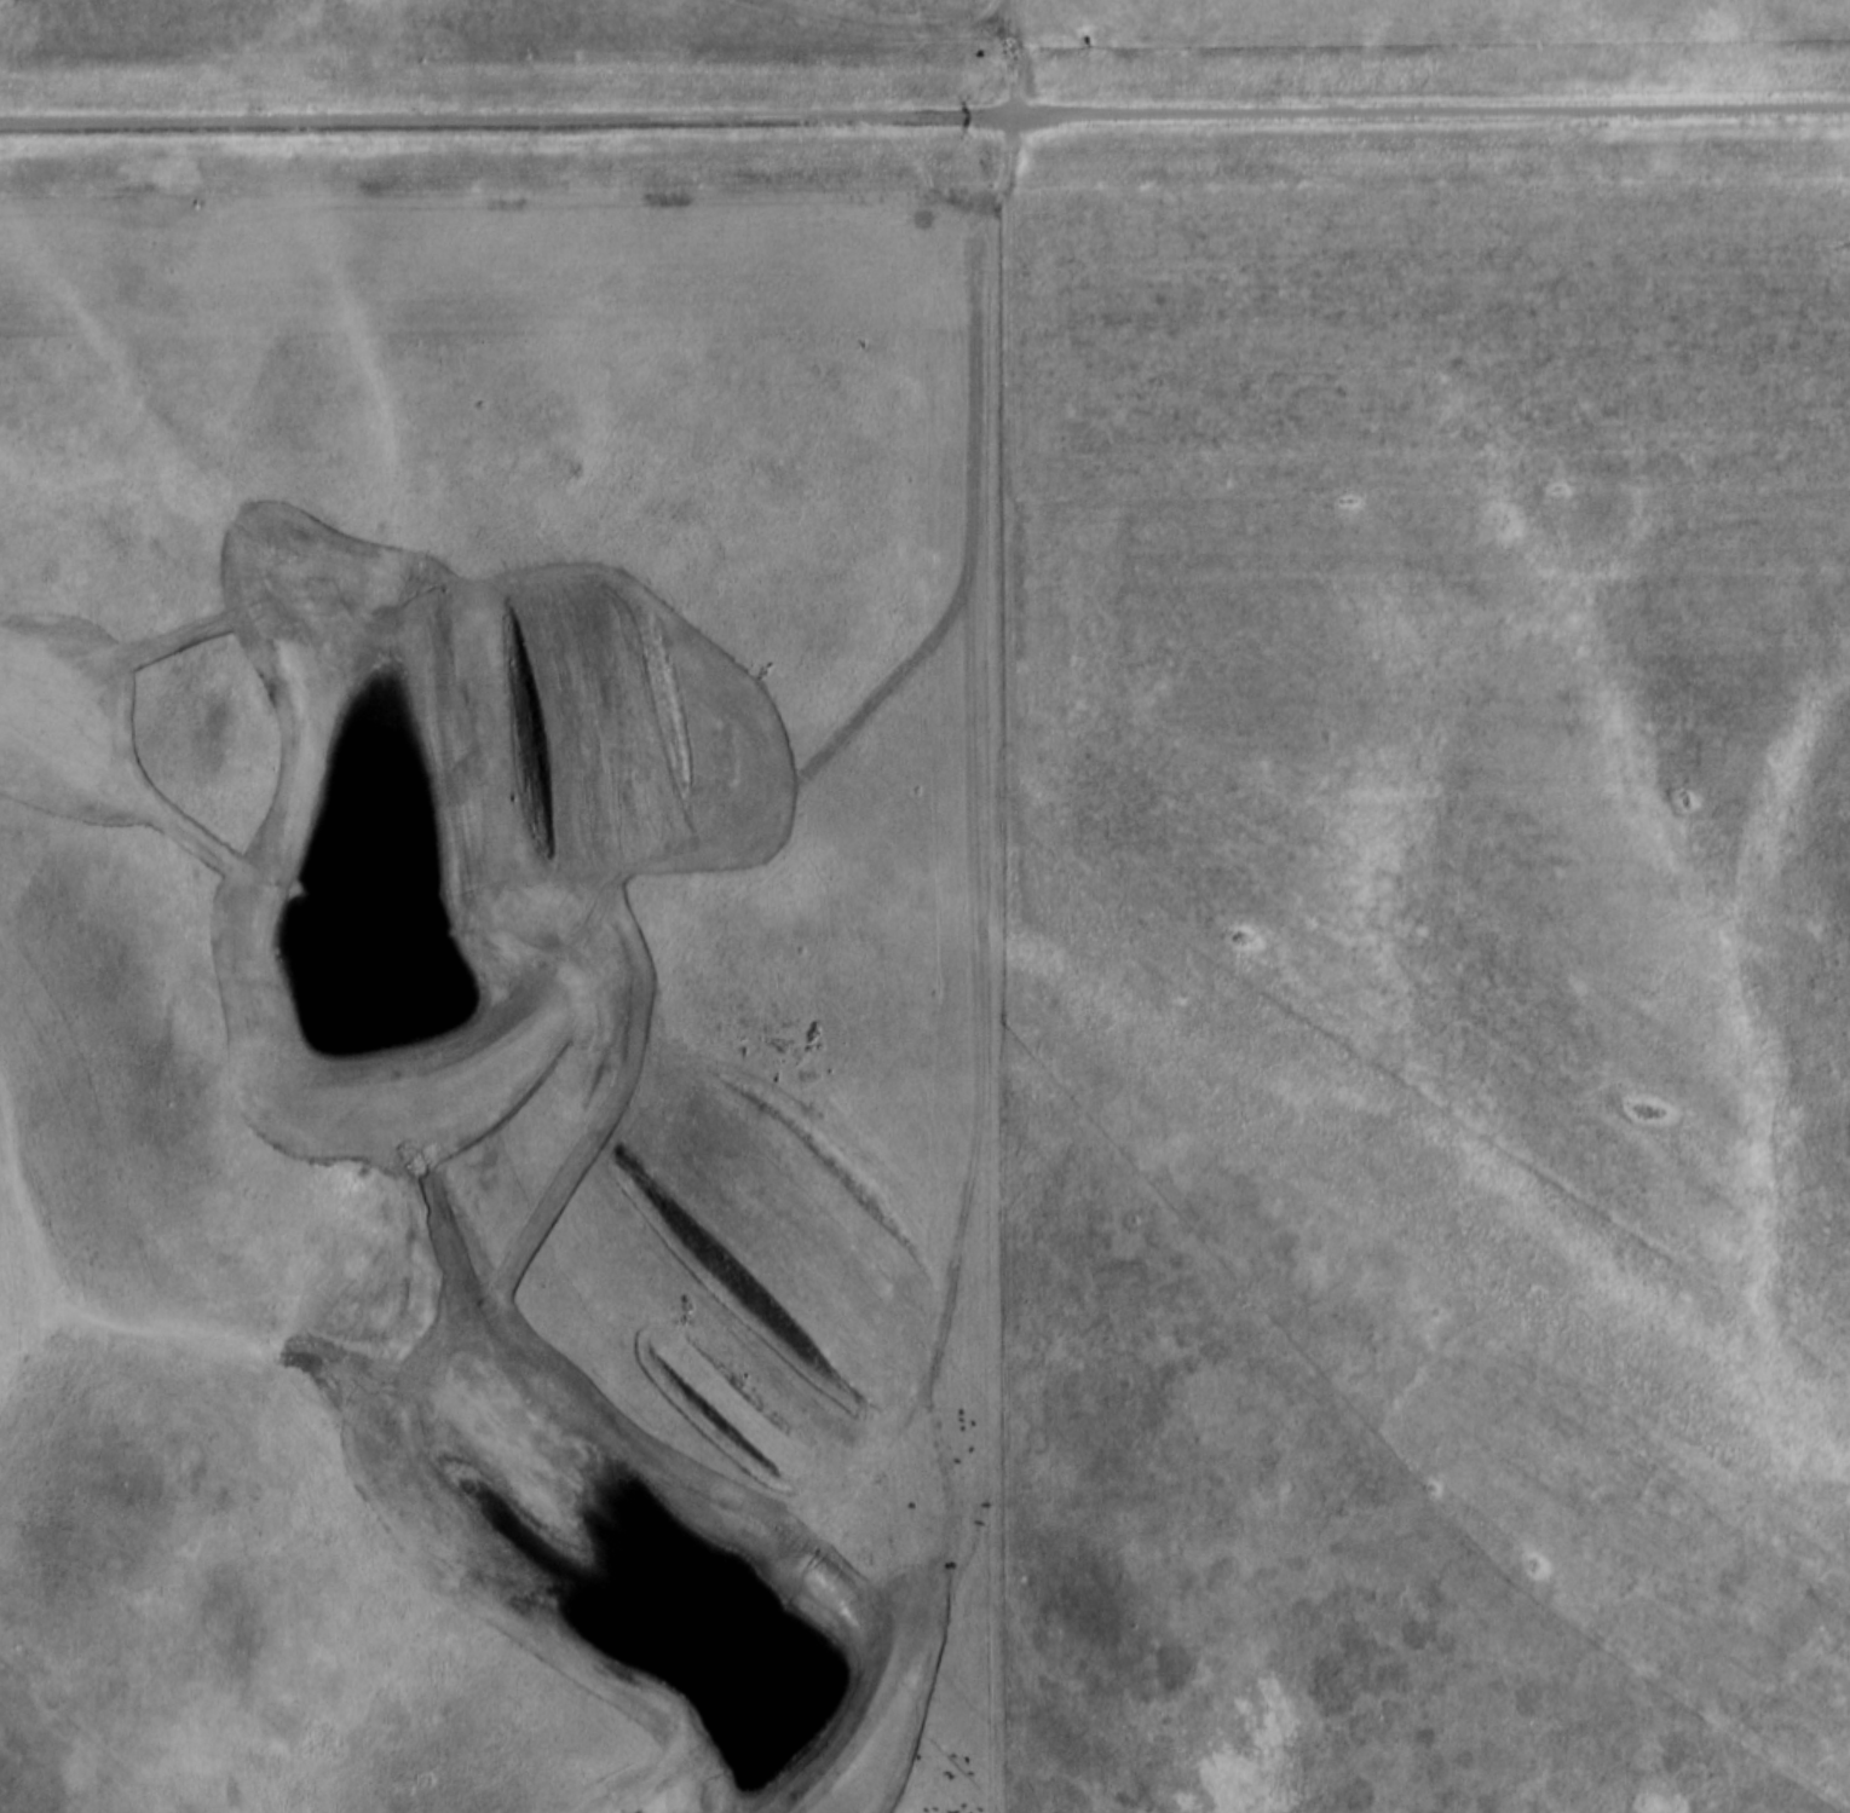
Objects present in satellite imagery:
road: (924, 120)
road: (472, 359)

